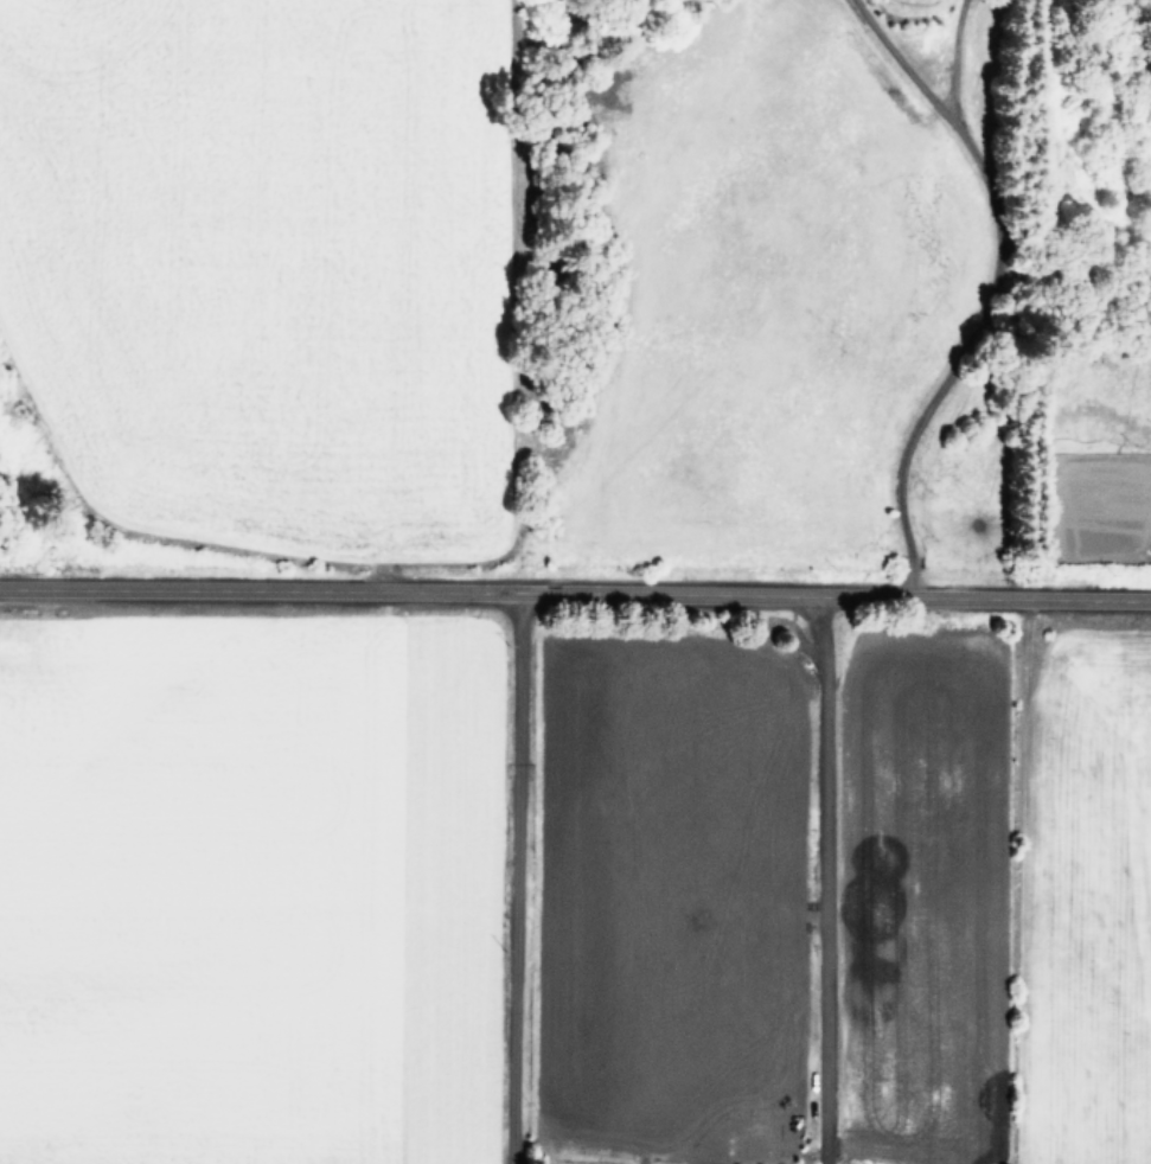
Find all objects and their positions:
road: (989, 288)
road: (575, 596)
crop: (463, 683)
road: (511, 880)
road: (819, 882)

